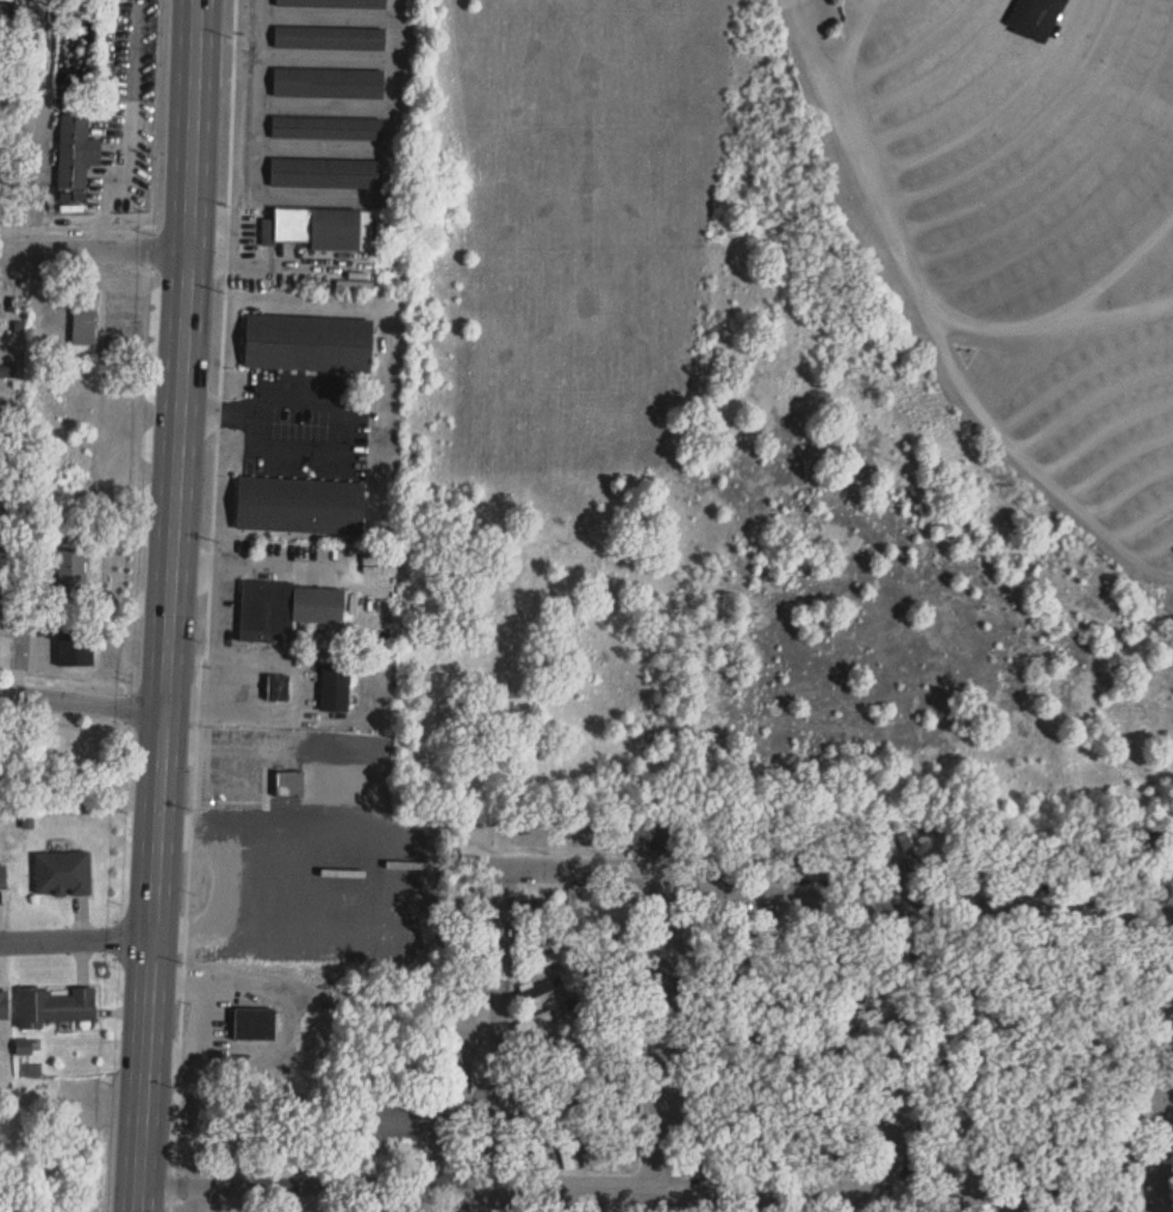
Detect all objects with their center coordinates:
building: (335, 1)
building: (794, 2)
building: (1035, 19)
building: (327, 31)
road: (855, 45)
road: (905, 52)
road: (322, 57)
road: (934, 70)
road: (1080, 75)
building: (326, 79)
road: (991, 108)
building: (324, 124)
parking lot: (1017, 146)
building: (75, 154)
building: (324, 169)
road: (1062, 224)
building: (320, 230)
road: (152, 245)
road: (94, 248)
road: (1065, 310)
road: (1109, 313)
building: (85, 321)
road: (936, 323)
building: (306, 339)
parking lot: (1108, 433)
road: (327, 444)
building: (298, 502)
road: (263, 564)
road: (83, 576)
building: (6, 577)
building: (70, 579)
road: (168, 606)
road: (207, 608)
building: (286, 608)
road: (212, 633)
building: (75, 648)
road: (86, 676)
building: (335, 687)
road: (81, 699)
road: (232, 702)
road: (61, 720)
building: (7, 755)
building: (289, 783)
building: (650, 837)
building: (712, 849)
building: (829, 851)
building: (910, 854)
building: (936, 856)
building: (971, 856)
building: (1006, 857)
building: (1043, 857)
building: (1082, 860)
building: (1121, 867)
building: (61, 869)
building: (1, 874)
road: (235, 874)
road: (841, 898)
building: (572, 907)
building: (594, 907)
building: (538, 908)
building: (693, 925)
building: (624, 932)
road: (75, 936)
building: (537, 936)
building: (741, 936)
building: (768, 937)
building: (981, 947)
building: (1041, 947)
building: (1012, 951)
building: (941, 952)
building: (1086, 955)
building: (619, 957)
building: (867, 960)
building: (538, 961)
building: (1127, 961)
building: (707, 976)
building: (542, 991)
building: (857, 994)
building: (628, 995)
building: (711, 999)
building: (2, 1001)
building: (57, 1006)
road: (200, 1014)
building: (1119, 1017)
building: (537, 1020)
road: (286, 1023)
building: (705, 1023)
building: (255, 1025)
building: (942, 1039)
road: (504, 1045)
building: (832, 1045)
building: (620, 1047)
road: (666, 1048)
road: (907, 1049)
building: (713, 1050)
building: (1121, 1054)
building: (856, 1057)
building: (938, 1073)
building: (861, 1083)
building: (712, 1085)
building: (531, 1086)
building: (620, 1110)
building: (534, 1112)
building: (397, 1123)
building: (941, 1125)
building: (1113, 1132)
building: (706, 1141)
building: (564, 1148)
building: (538, 1151)
building: (1054, 1154)
building: (797, 1155)
building: (826, 1157)
building: (942, 1158)
building: (742, 1164)
building: (1116, 1168)
road: (607, 1192)
building: (557, 1211)

